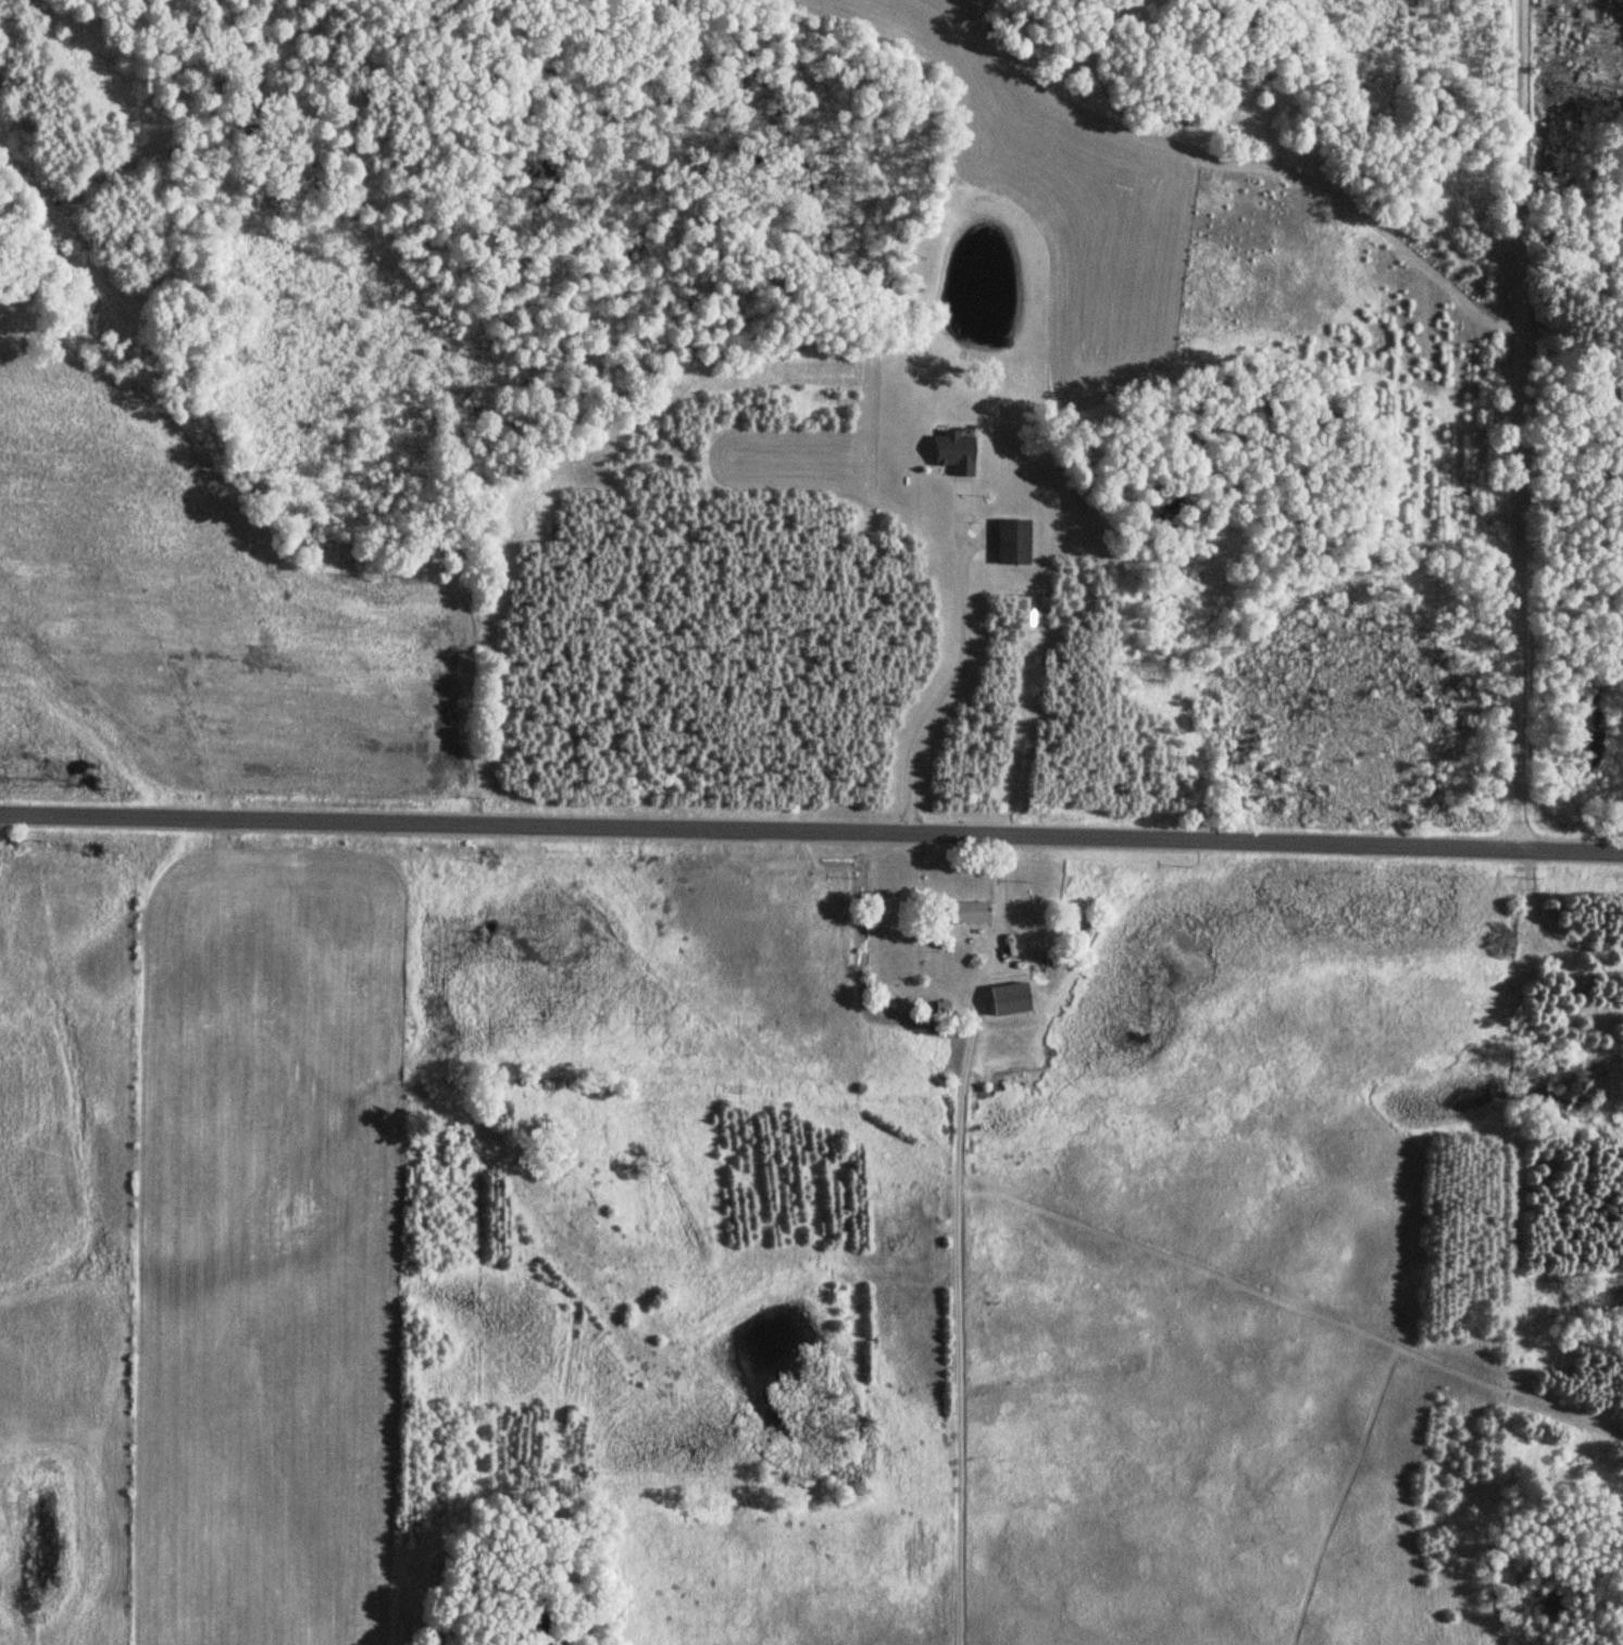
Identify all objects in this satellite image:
road: (1521, 423)
building: (951, 454)
building: (1010, 544)
road: (963, 666)
road: (811, 830)
building: (963, 913)
building: (1035, 961)
building: (1006, 999)
road: (954, 1135)

